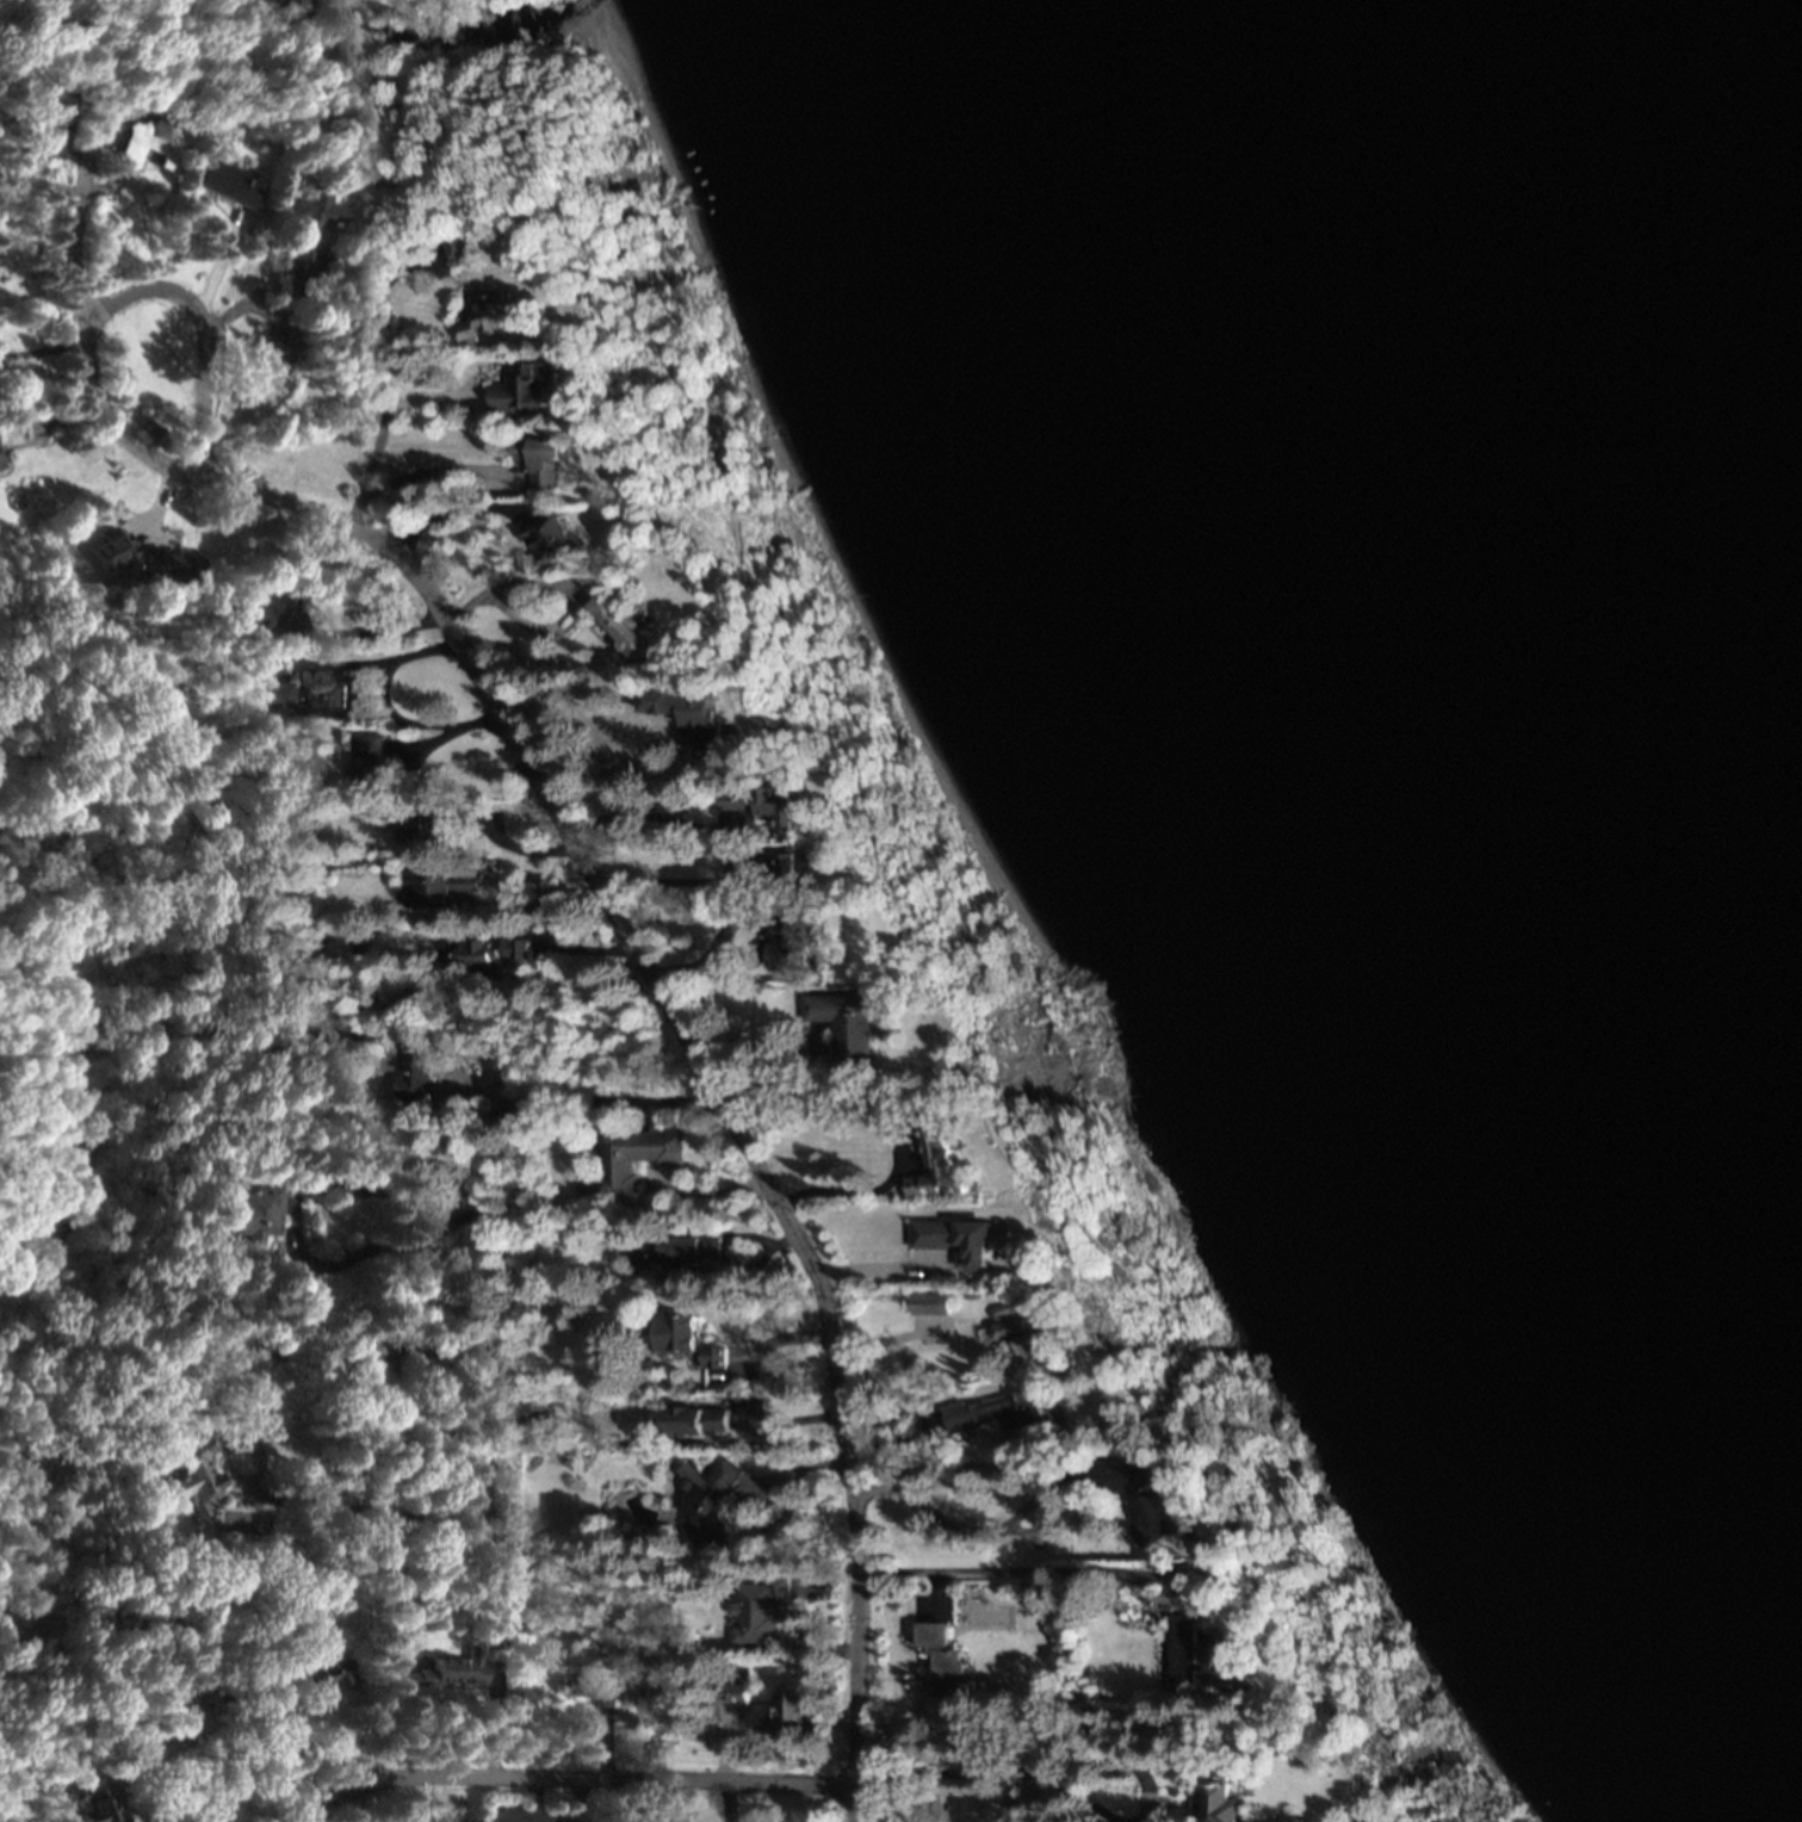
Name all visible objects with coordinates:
building: (48, 124)
building: (145, 141)
road: (39, 184)
building: (223, 184)
road: (388, 223)
building: (304, 231)
road: (74, 241)
road: (37, 252)
building: (457, 252)
road: (369, 312)
building: (484, 316)
road: (43, 351)
building: (273, 353)
building: (521, 386)
road: (112, 419)
building: (537, 459)
building: (0, 467)
road: (369, 471)
road: (433, 471)
building: (547, 538)
road: (569, 590)
building: (253, 607)
building: (615, 625)
road: (360, 631)
building: (270, 694)
building: (334, 695)
road: (385, 708)
building: (685, 713)
road: (596, 754)
building: (369, 763)
building: (757, 802)
building: (422, 820)
road: (652, 822)
building: (791, 862)
road: (518, 884)
building: (442, 885)
road: (671, 885)
building: (786, 937)
road: (627, 940)
road: (712, 941)
building: (485, 953)
building: (842, 1024)
building: (416, 1070)
road: (603, 1104)
road: (899, 1121)
building: (626, 1158)
building: (937, 1164)
road: (696, 1196)
building: (253, 1211)
building: (956, 1240)
road: (731, 1246)
building: (674, 1251)
road: (318, 1266)
road: (883, 1268)
building: (930, 1303)
road: (489, 1308)
building: (1021, 1335)
building: (682, 1340)
road: (897, 1341)
road: (764, 1346)
building: (997, 1412)
building: (689, 1420)
road: (775, 1427)
building: (190, 1474)
road: (758, 1495)
building: (1134, 1496)
building: (704, 1500)
road: (354, 1511)
road: (989, 1531)
road: (1064, 1572)
road: (807, 1588)
road: (936, 1591)
building: (758, 1612)
road: (805, 1637)
building: (497, 1642)
building: (943, 1661)
building: (1203, 1661)
road: (496, 1663)
building: (445, 1673)
building: (326, 1677)
road: (855, 1680)
building: (590, 1686)
building: (732, 1694)
building: (275, 1703)
building: (787, 1712)
building: (193, 1713)
road: (495, 1721)
road: (1033, 1728)
road: (608, 1743)
road: (724, 1743)
road: (259, 1746)
road: (298, 1764)
road: (930, 1772)
road: (574, 1777)
road: (299, 1798)
road: (534, 1799)
building: (1224, 1801)
road: (725, 1802)
building: (94, 1803)
road: (351, 1808)
road: (574, 1816)

